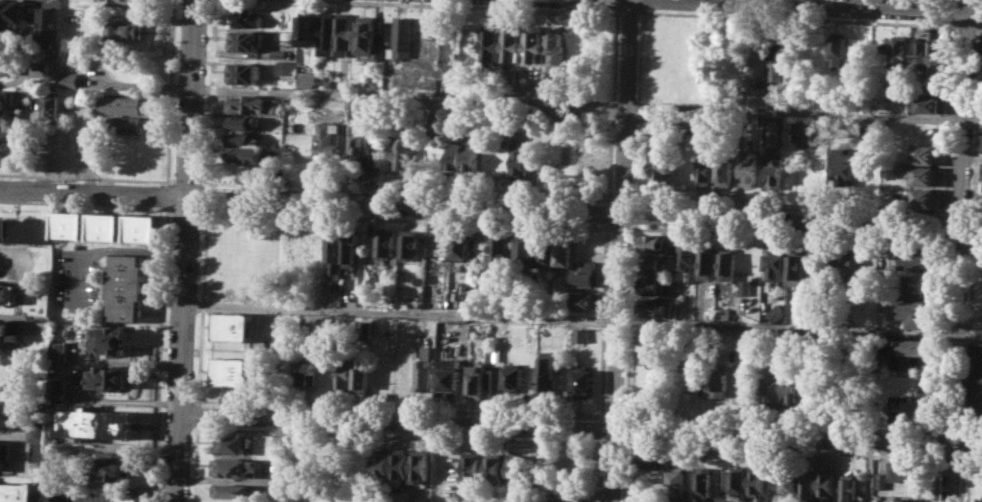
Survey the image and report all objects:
building: (127, 2)
road: (617, 3)
road: (642, 3)
road: (862, 4)
road: (471, 5)
road: (628, 11)
building: (12, 13)
road: (796, 17)
building: (249, 18)
building: (51, 22)
road: (966, 25)
road: (979, 26)
building: (128, 30)
building: (306, 30)
building: (325, 30)
building: (343, 33)
building: (368, 37)
building: (401, 37)
building: (245, 40)
building: (535, 43)
building: (557, 44)
building: (491, 45)
building: (513, 46)
building: (839, 50)
building: (279, 52)
building: (901, 53)
building: (775, 54)
building: (934, 58)
building: (7, 63)
building: (55, 67)
building: (284, 67)
building: (244, 72)
building: (305, 77)
building: (72, 79)
building: (327, 82)
building: (540, 91)
road: (210, 93)
building: (8, 102)
road: (587, 102)
building: (122, 103)
building: (248, 103)
building: (929, 104)
road: (613, 105)
road: (636, 105)
building: (52, 106)
building: (70, 112)
building: (242, 122)
building: (124, 124)
building: (770, 132)
building: (803, 133)
building: (241, 138)
building: (93, 139)
building: (50, 141)
building: (327, 143)
building: (8, 146)
building: (981, 147)
building: (354, 150)
building: (371, 151)
building: (247, 154)
building: (926, 154)
building: (401, 156)
building: (453, 156)
building: (519, 156)
building: (469, 157)
building: (661, 163)
building: (843, 164)
building: (774, 170)
building: (704, 171)
building: (748, 171)
building: (981, 172)
building: (725, 173)
building: (924, 175)
road: (83, 177)
road: (170, 181)
road: (187, 181)
road: (407, 190)
road: (93, 192)
building: (901, 194)
building: (926, 198)
road: (207, 199)
road: (620, 199)
building: (981, 203)
road: (83, 204)
road: (790, 206)
road: (584, 211)
road: (608, 212)
road: (632, 213)
road: (959, 214)
road: (312, 215)
road: (975, 215)
building: (72, 225)
building: (109, 226)
road: (620, 227)
building: (145, 228)
building: (26, 229)
road: (789, 233)
building: (385, 241)
road: (959, 241)
road: (975, 241)
building: (460, 243)
building: (651, 243)
building: (350, 246)
building: (408, 247)
road: (111, 249)
road: (185, 250)
road: (958, 250)
road: (165, 251)
building: (547, 251)
building: (564, 251)
road: (620, 251)
building: (500, 252)
building: (525, 252)
building: (334, 255)
building: (914, 256)
building: (684, 259)
building: (832, 261)
building: (705, 262)
building: (726, 262)
building: (651, 264)
building: (775, 265)
building: (855, 266)
building: (798, 267)
building: (587, 275)
parking lot: (81, 277)
building: (916, 283)
building: (651, 285)
building: (127, 286)
building: (743, 287)
building: (9, 293)
building: (467, 294)
building: (585, 301)
building: (654, 307)
building: (911, 311)
building: (774, 312)
building: (722, 313)
road: (582, 318)
road: (604, 320)
road: (629, 321)
building: (235, 326)
building: (10, 334)
building: (581, 334)
building: (114, 338)
building: (917, 347)
building: (59, 351)
building: (307, 369)
building: (425, 369)
building: (234, 371)
building: (344, 374)
building: (546, 374)
building: (365, 375)
building: (114, 376)
building: (514, 379)
building: (450, 380)
building: (695, 380)
building: (716, 380)
building: (477, 381)
building: (495, 381)
building: (584, 381)
building: (977, 381)
building: (772, 382)
building: (810, 387)
building: (792, 388)
building: (59, 389)
road: (402, 407)
building: (911, 409)
road: (200, 414)
building: (7, 415)
road: (614, 416)
building: (94, 422)
road: (782, 423)
road: (580, 427)
road: (602, 430)
road: (625, 430)
road: (951, 431)
road: (971, 431)
building: (37, 432)
road: (402, 434)
building: (281, 441)
building: (233, 443)
road: (613, 443)
road: (438, 444)
road: (782, 449)
building: (38, 451)
building: (4, 453)
road: (952, 458)
building: (647, 459)
road: (971, 460)
road: (198, 462)
building: (365, 462)
building: (385, 463)
building: (403, 463)
building: (422, 464)
building: (473, 464)
building: (234, 466)
building: (495, 466)
building: (109, 468)
building: (518, 468)
road: (600, 470)
road: (624, 470)
building: (905, 470)
building: (676, 478)
building: (737, 478)
building: (787, 480)
building: (880, 480)
building: (756, 481)
building: (703, 482)
building: (805, 482)
building: (824, 482)
building: (848, 487)
building: (234, 490)
building: (17, 491)
building: (131, 497)
building: (908, 500)
building: (228, 501)
building: (735, 501)

